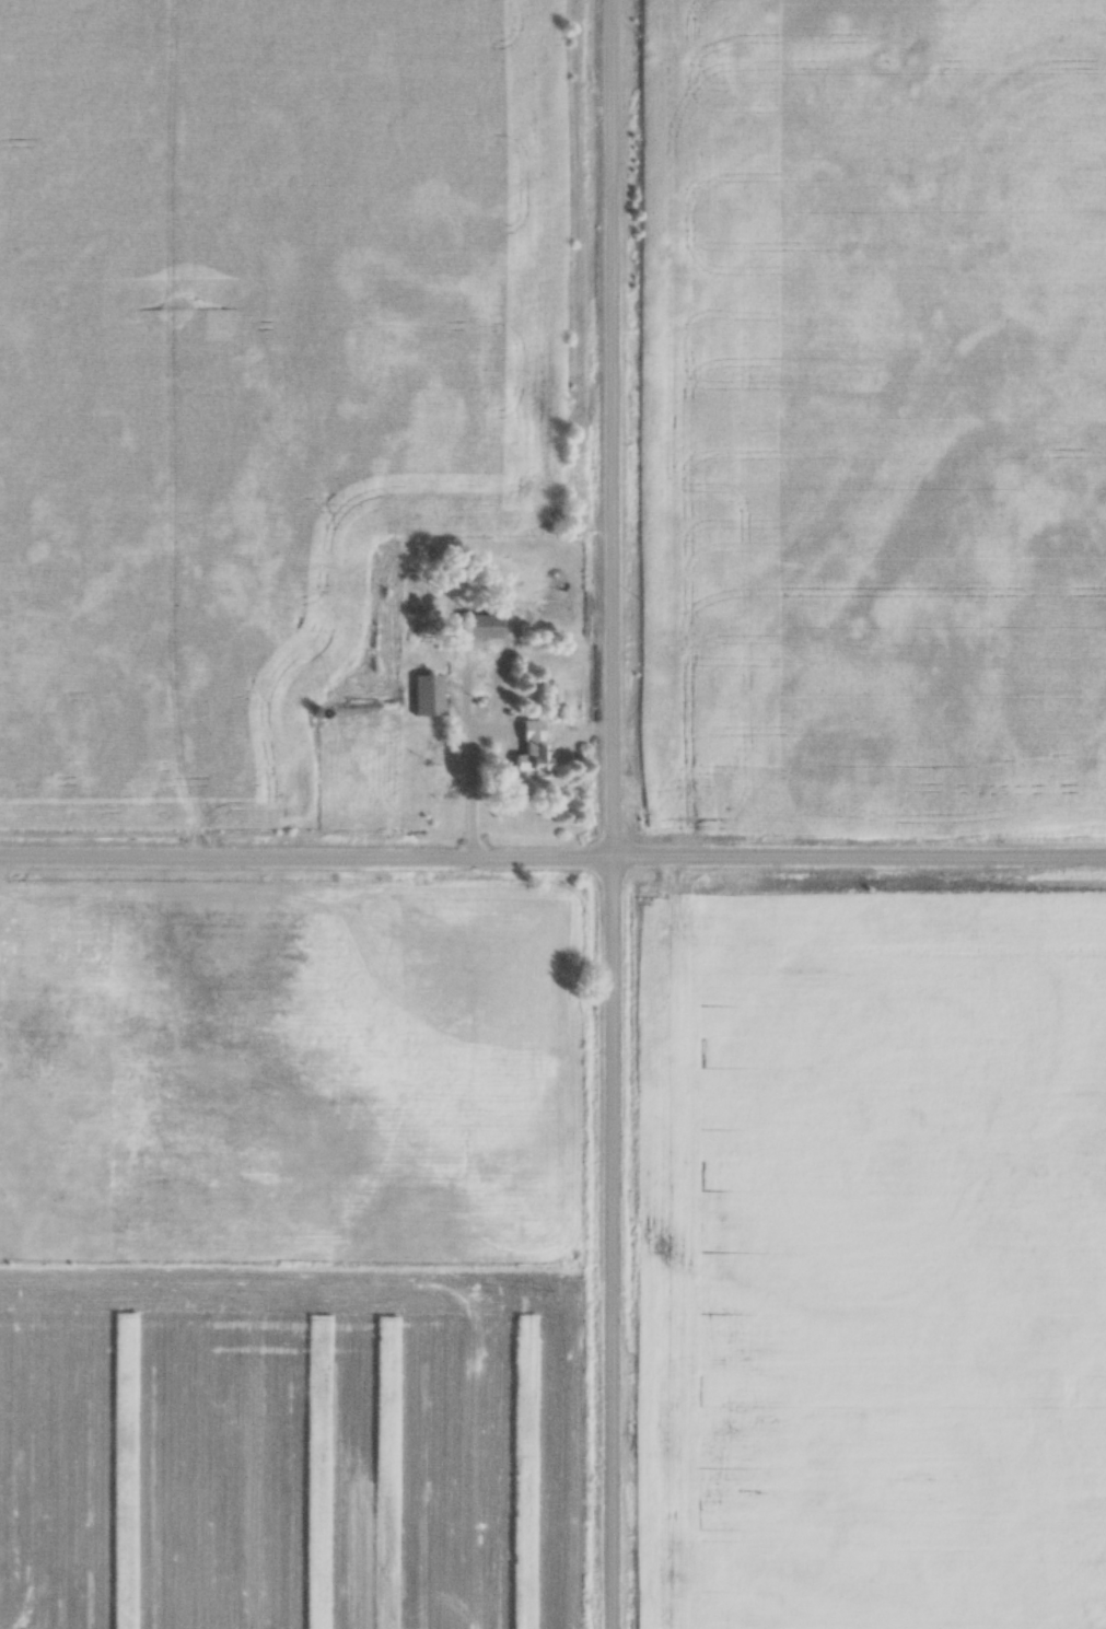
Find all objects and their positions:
building: (477, 627)
building: (427, 696)
building: (532, 745)
road: (473, 790)
road: (595, 814)
road: (552, 863)

